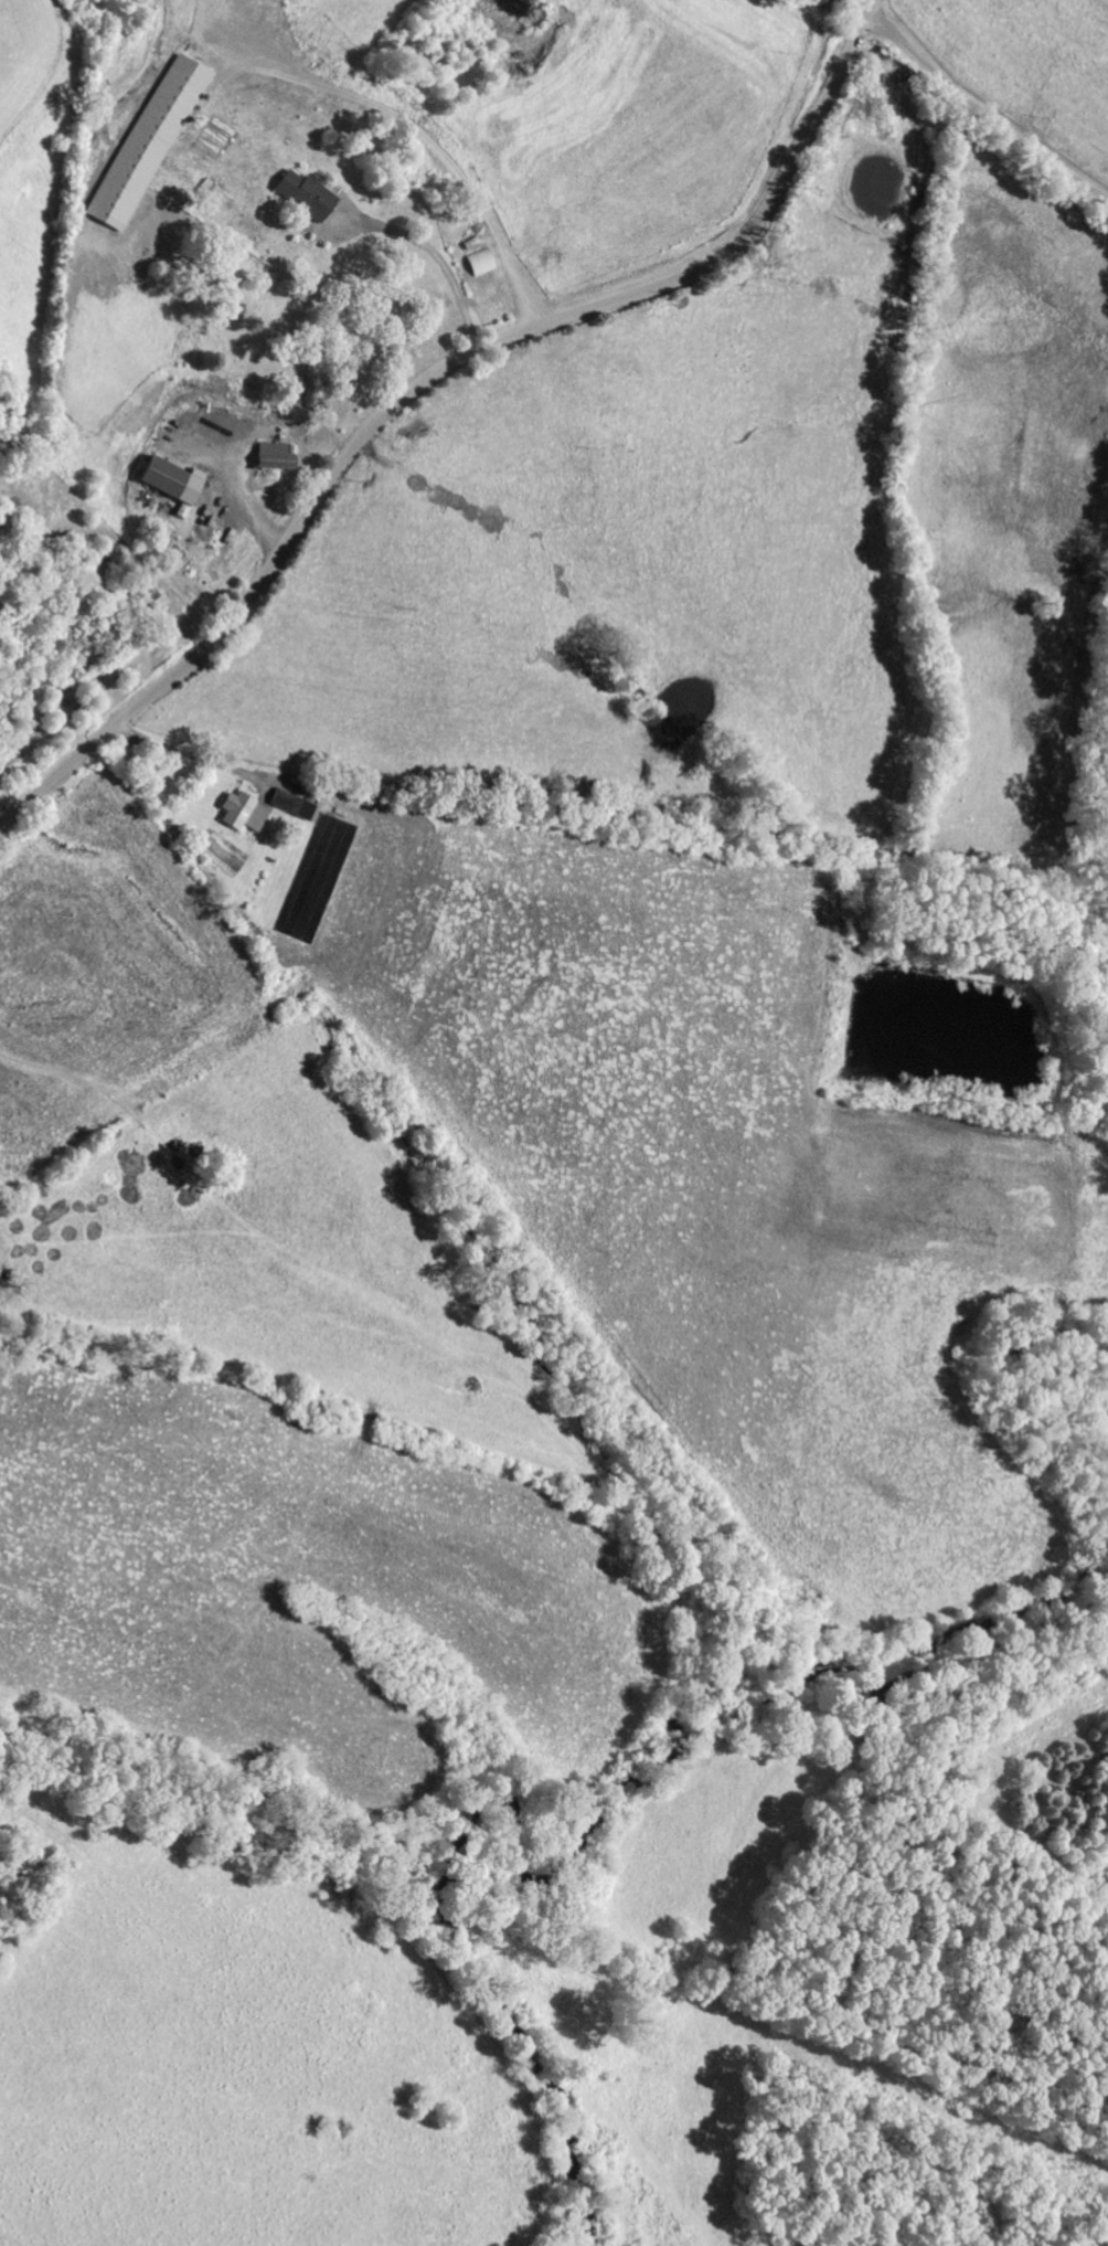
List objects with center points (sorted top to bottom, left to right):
building: (153, 144)
building: (310, 197)
building: (483, 263)
road: (426, 379)
building: (280, 458)
building: (179, 483)
building: (297, 805)
building: (247, 813)

